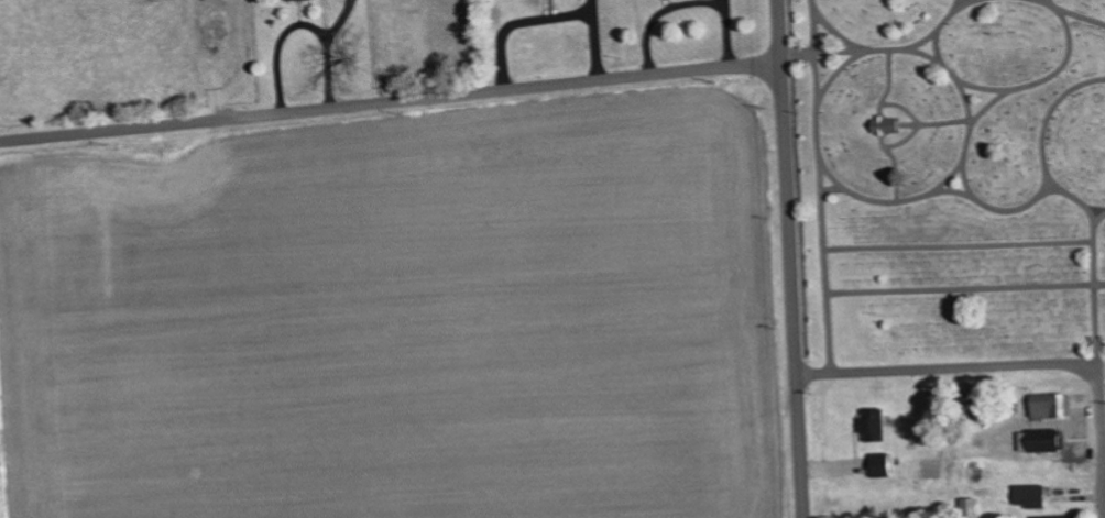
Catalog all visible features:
road: (970, 1)
road: (1046, 1)
road: (1082, 18)
road: (940, 23)
road: (831, 26)
road: (816, 33)
road: (1053, 74)
road: (839, 75)
road: (390, 102)
road: (988, 107)
road: (970, 112)
road: (1050, 115)
road: (920, 122)
road: (945, 122)
building: (885, 124)
park: (951, 175)
road: (786, 186)
road: (952, 190)
road: (1025, 205)
road: (822, 212)
road: (1099, 218)
road: (960, 244)
road: (965, 288)
road: (1096, 294)
road: (997, 365)
road: (1094, 367)
building: (1050, 405)
building: (871, 423)
building: (1047, 439)
road: (797, 445)
building: (878, 463)
building: (1030, 495)
building: (970, 507)
building: (1057, 516)

